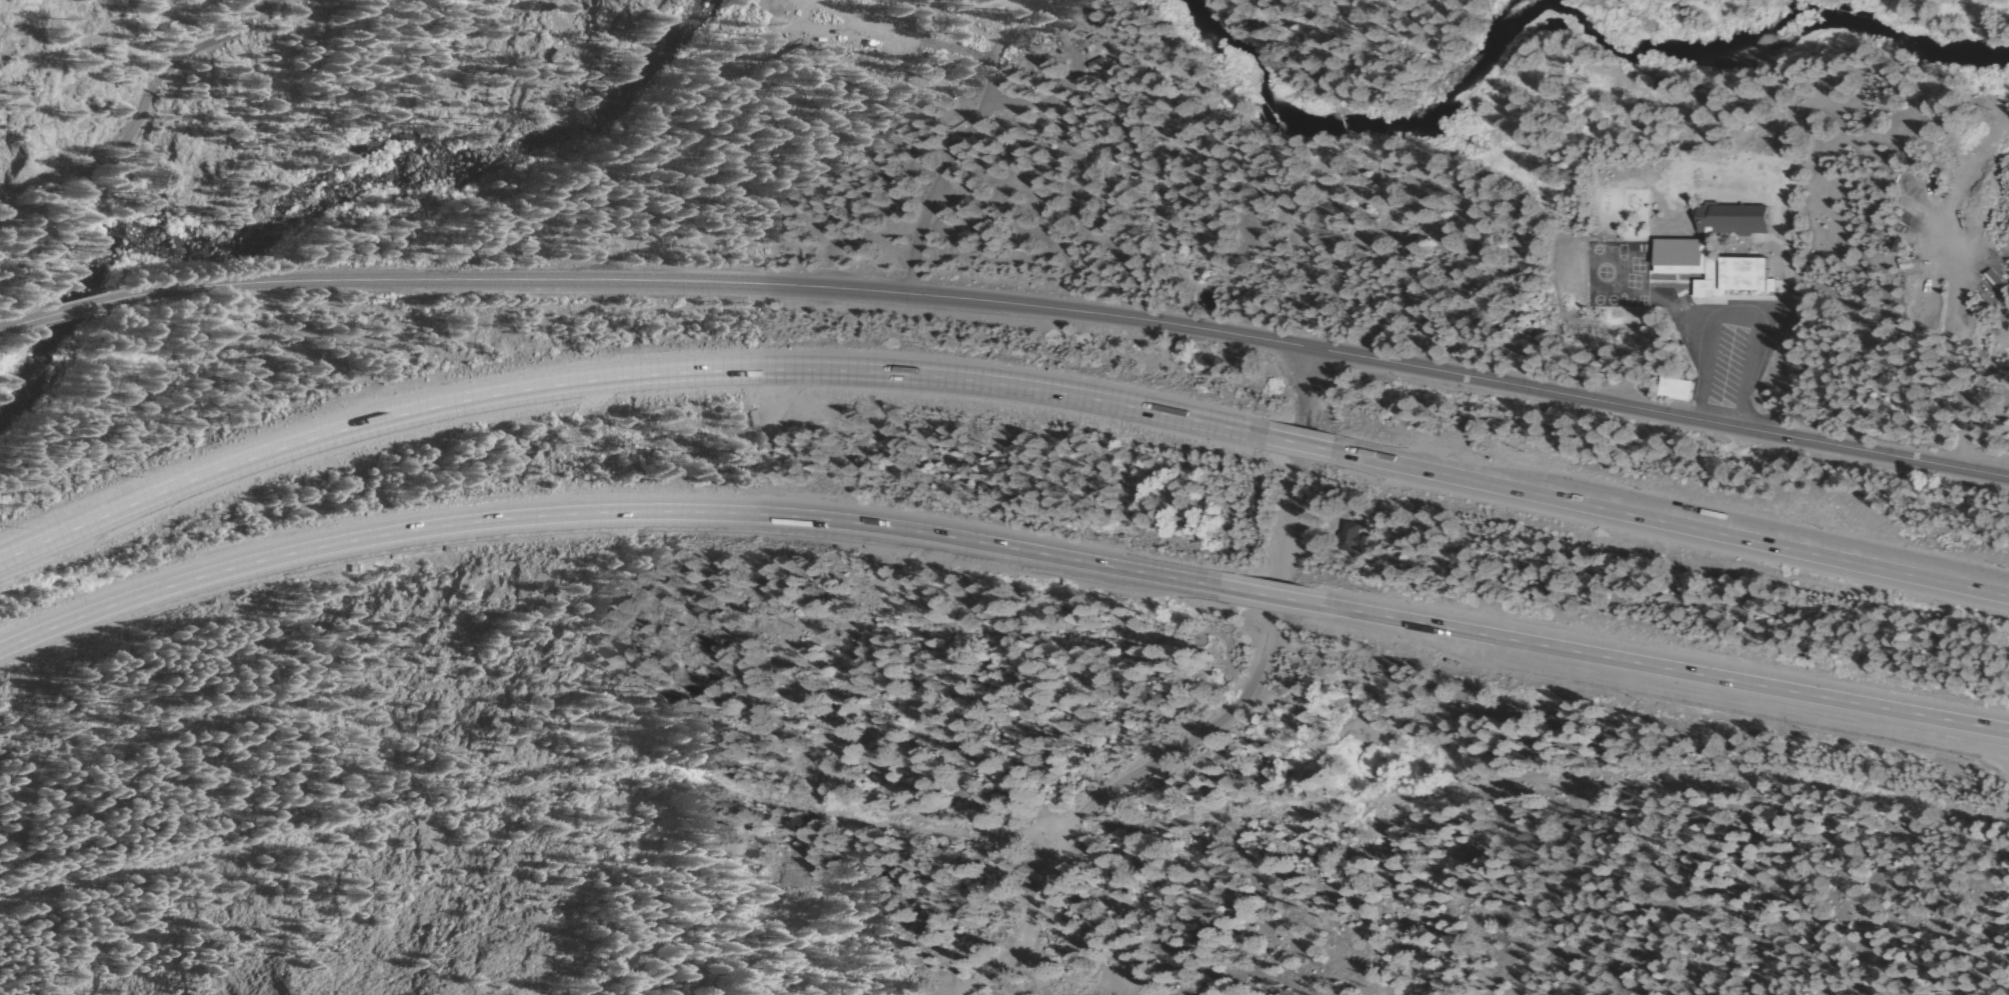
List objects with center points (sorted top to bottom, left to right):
river: (663, 39)
river: (1889, 46)
road: (137, 113)
river: (1452, 129)
river: (289, 218)
building: (1686, 251)
road: (71, 308)
road: (1063, 308)
road: (18, 323)
parking lot: (1723, 353)
road: (621, 376)
road: (1298, 444)
road: (609, 513)
road: (1670, 525)
road: (1269, 597)
road: (1264, 633)
road: (1655, 671)
road: (1032, 910)
road: (983, 974)

